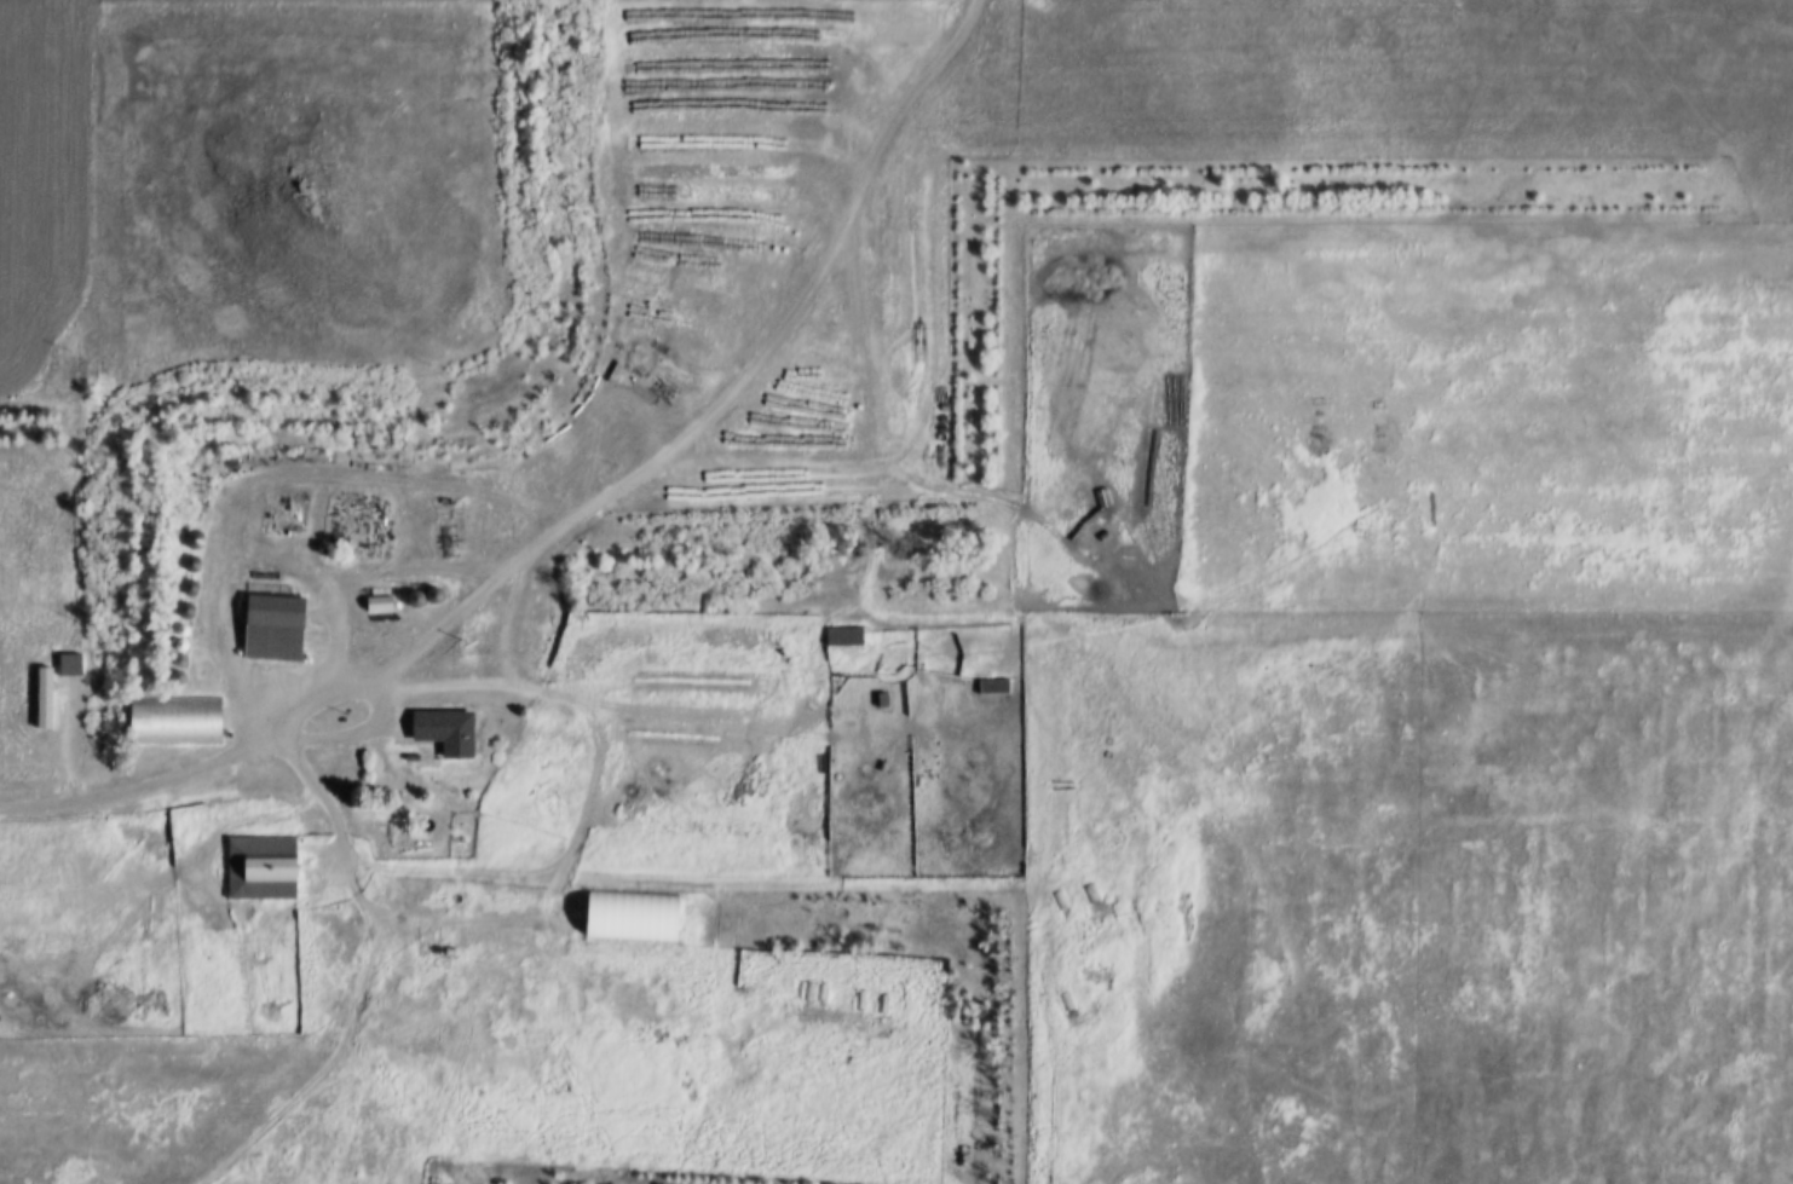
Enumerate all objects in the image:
road: (716, 402)
building: (186, 538)
building: (703, 601)
building: (375, 602)
building: (269, 626)
building: (840, 635)
building: (990, 686)
building: (45, 695)
building: (171, 718)
building: (439, 729)
road: (178, 784)
building: (258, 866)
road: (550, 885)
building: (1082, 891)
road: (298, 974)
building: (812, 993)

